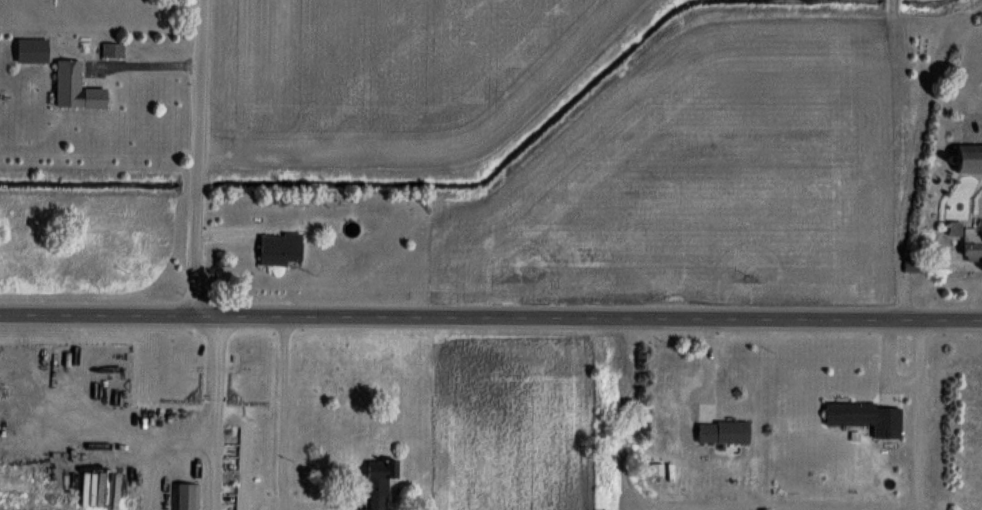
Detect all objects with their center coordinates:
building: (113, 50)
road: (146, 65)
building: (74, 88)
road: (199, 158)
building: (967, 160)
building: (972, 245)
building: (278, 250)
road: (491, 318)
road: (877, 359)
road: (290, 414)
road: (907, 415)
building: (865, 418)
building: (722, 432)
building: (380, 482)
building: (189, 497)

